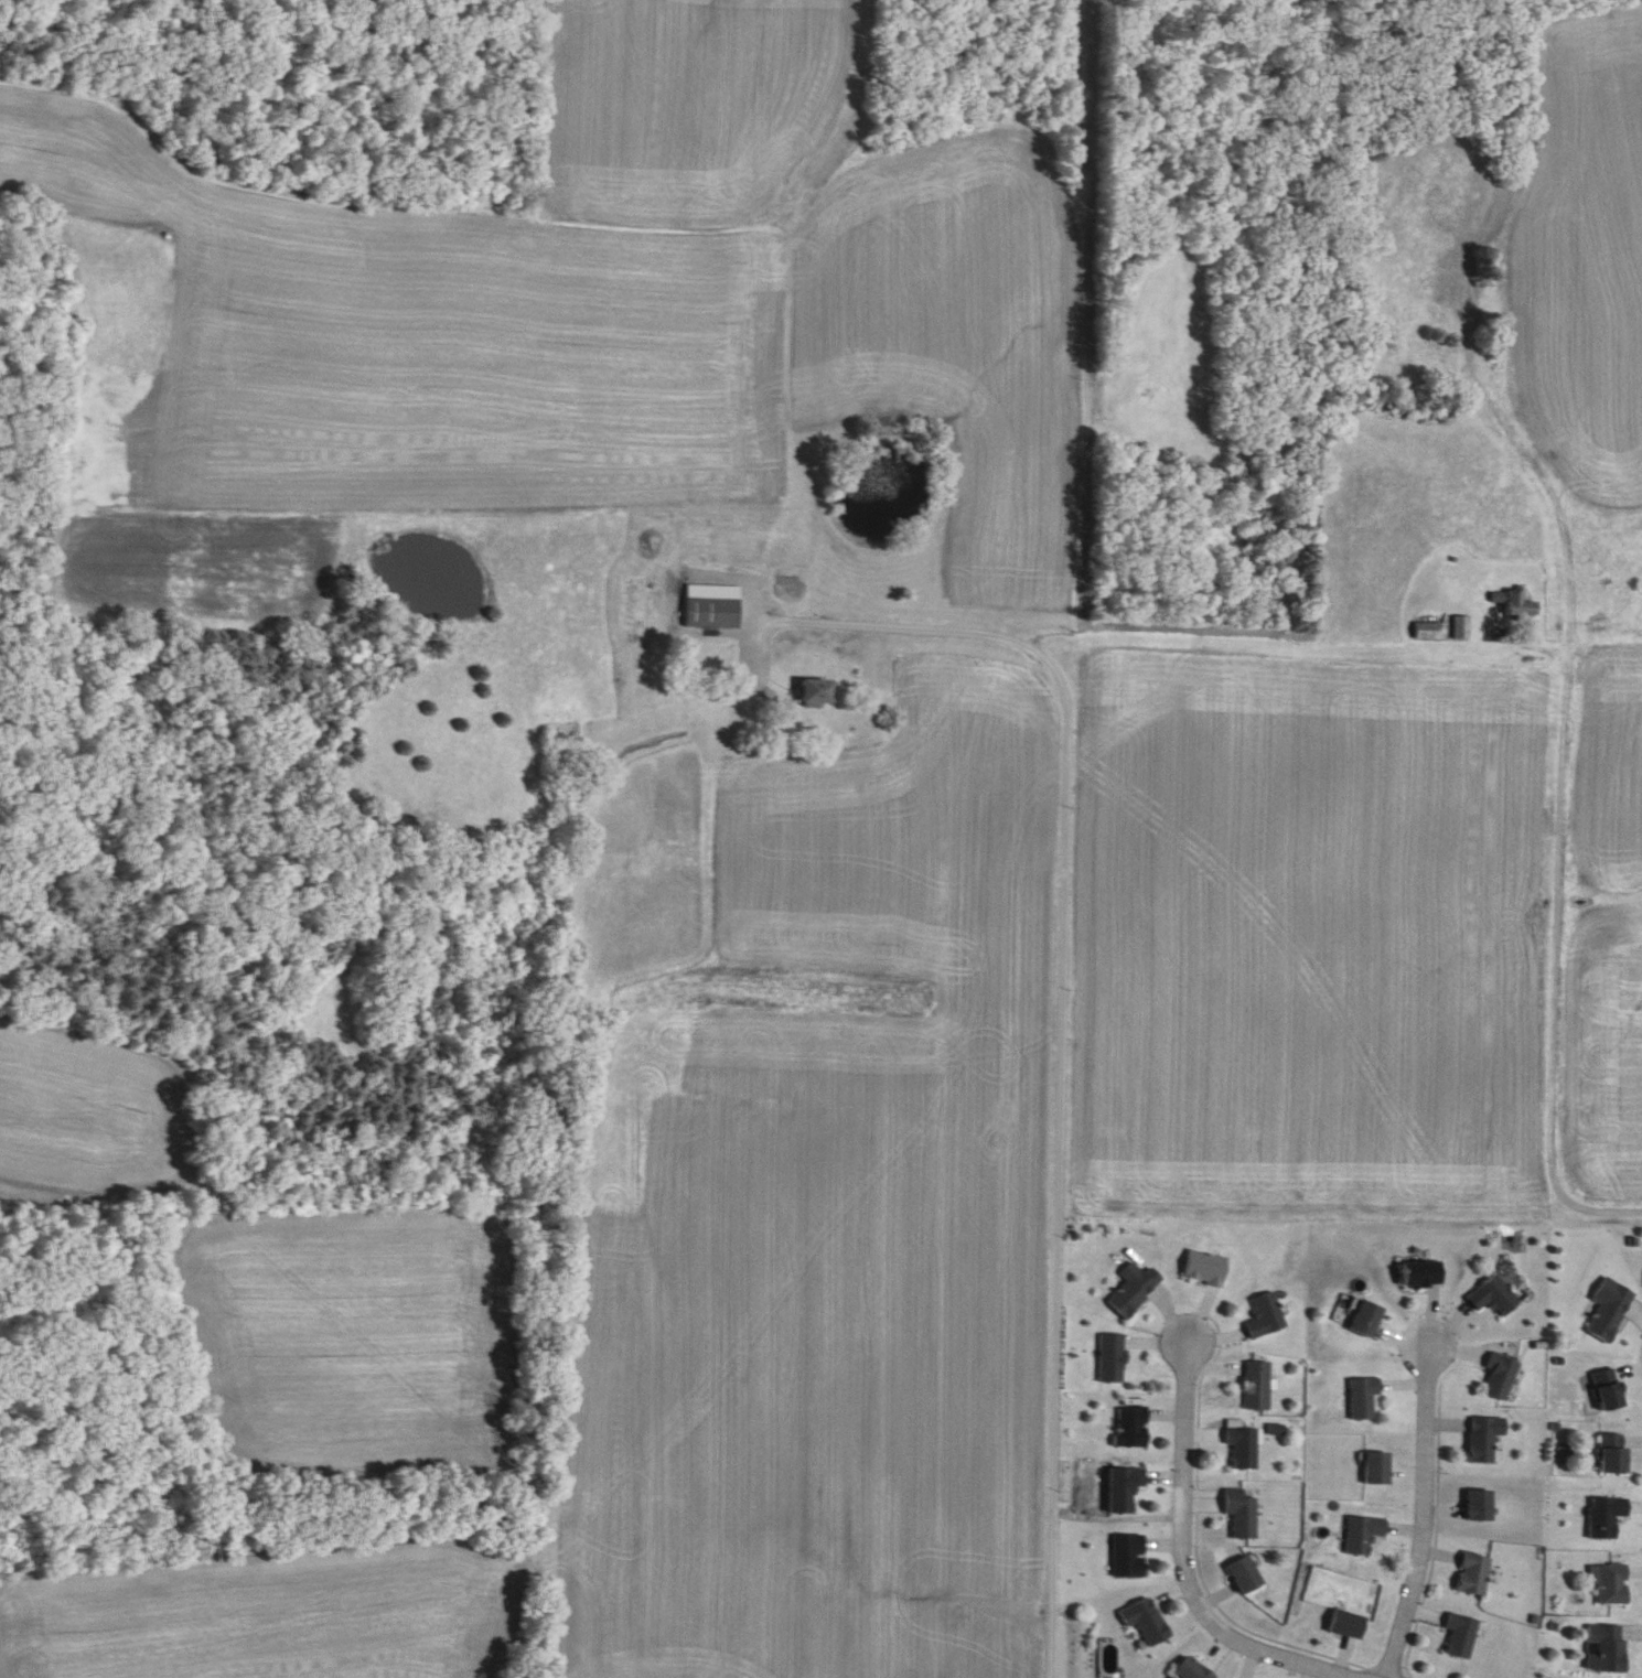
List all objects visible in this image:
building: (1521, 605)
building: (713, 607)
building: (1463, 628)
building: (1431, 632)
road: (1599, 659)
building: (819, 693)
road: (1556, 935)
road: (1063, 1004)
building: (1208, 1269)
building: (1424, 1276)
building: (1136, 1290)
building: (1494, 1297)
building: (1611, 1311)
building: (1266, 1319)
building: (1370, 1320)
building: (1114, 1359)
building: (1502, 1379)
building: (1259, 1388)
building: (1611, 1391)
building: (1366, 1399)
building: (1135, 1429)
building: (1487, 1441)
building: (1246, 1450)
building: (1617, 1454)
building: (1381, 1470)
building: (1128, 1489)
building: (1482, 1507)
road: (1424, 1514)
building: (1244, 1515)
building: (1609, 1518)
building: (1365, 1536)
building: (1133, 1557)
road: (1185, 1567)
building: (1477, 1575)
building: (1247, 1577)
building: (1616, 1585)
building: (1149, 1622)
building: (1349, 1625)
building: (1462, 1637)
building: (1610, 1648)
building: (1194, 1669)

